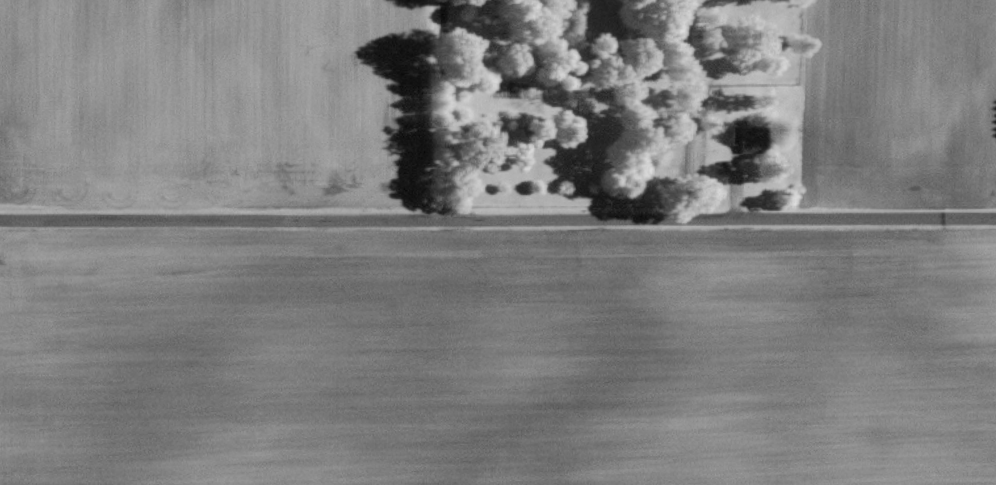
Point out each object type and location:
road: (687, 104)
road: (442, 107)
building: (750, 138)
road: (497, 215)

